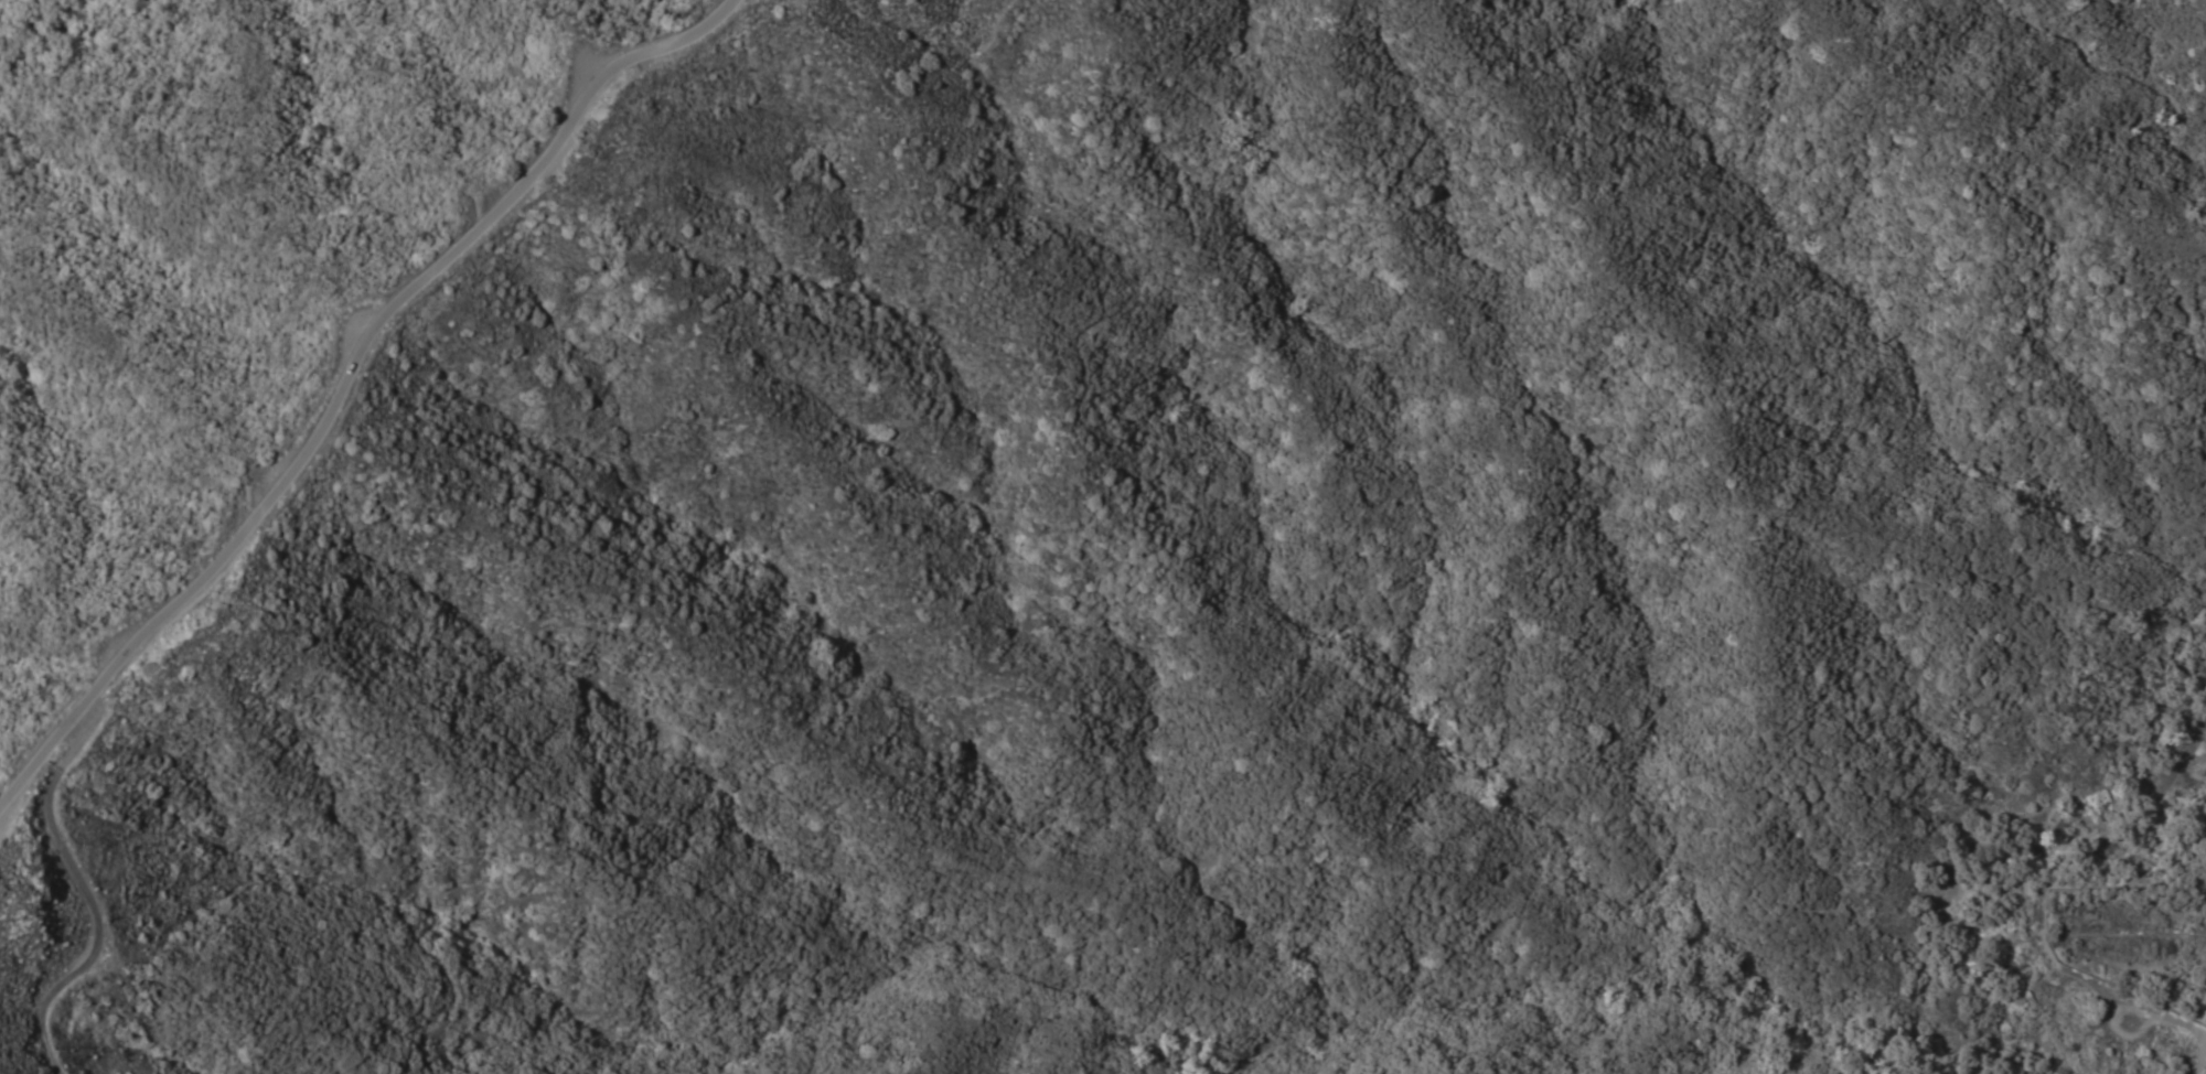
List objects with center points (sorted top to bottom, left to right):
road: (1757, 4)
road: (346, 377)
road: (936, 401)
road: (99, 909)
road: (2096, 987)
road: (2117, 1011)
road: (2200, 1030)
road: (2204, 1066)

